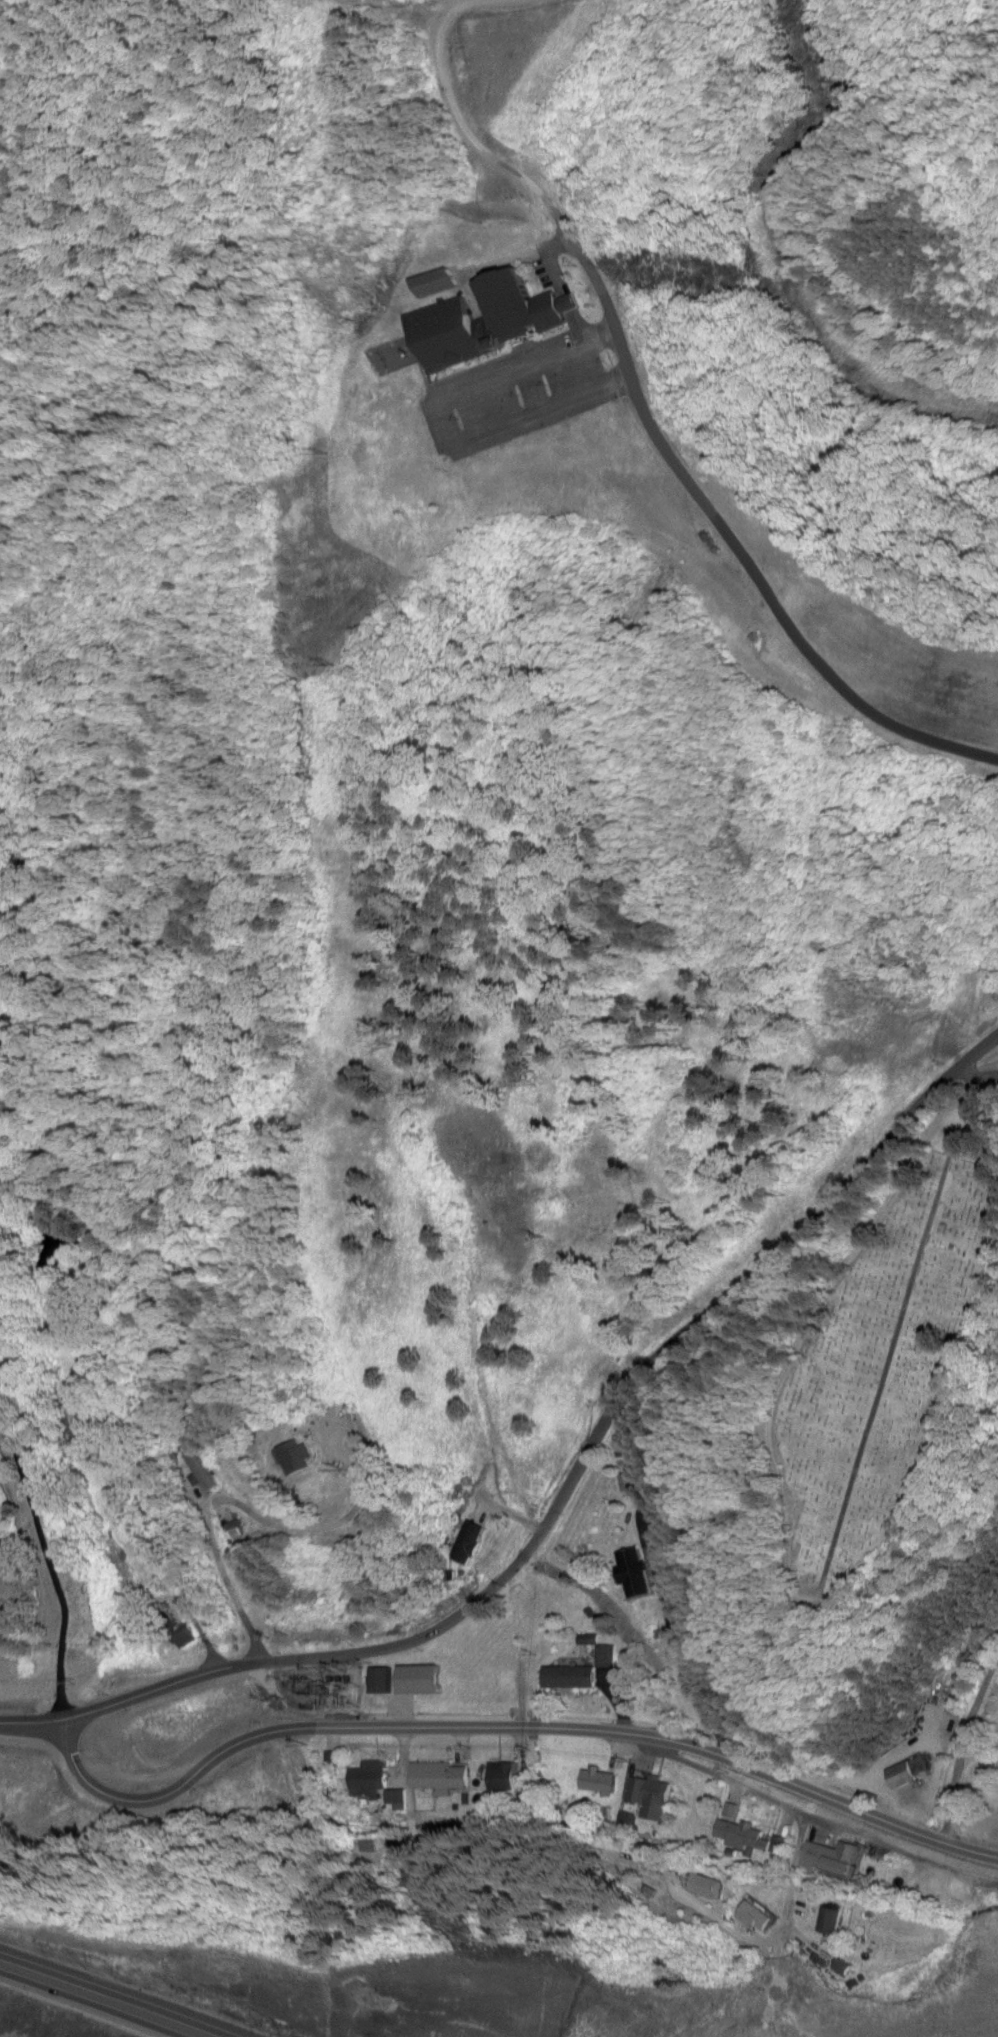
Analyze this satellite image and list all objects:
building: (485, 321)
road: (648, 414)
road: (979, 1075)
road: (979, 1090)
park: (876, 1377)
building: (75, 1419)
building: (297, 1457)
building: (199, 1472)
building: (627, 1483)
road: (563, 1499)
building: (236, 1532)
building: (468, 1542)
building: (633, 1574)
road: (673, 1574)
building: (578, 1673)
building: (351, 1694)
building: (940, 1718)
road: (507, 1725)
road: (964, 1743)
building: (908, 1772)
building: (440, 1777)
building: (504, 1777)
building: (57, 1780)
building: (368, 1780)
building: (598, 1782)
building: (648, 1799)
road: (820, 1821)
building: (746, 1835)
building: (833, 1859)
road: (796, 1873)
building: (707, 1888)
building: (934, 1890)
building: (754, 1918)
building: (828, 1925)
building: (797, 1997)
road: (101, 2000)

